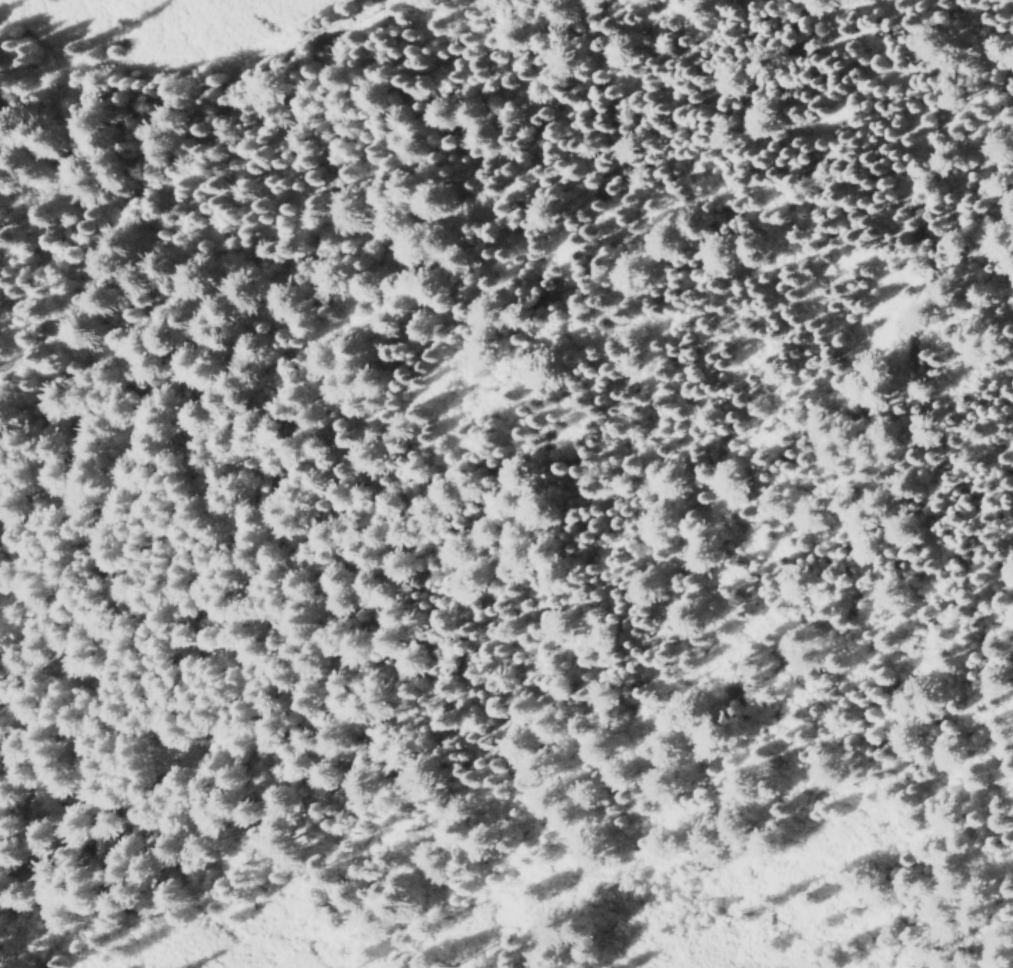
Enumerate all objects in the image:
road: (1010, 5)
road: (969, 224)

